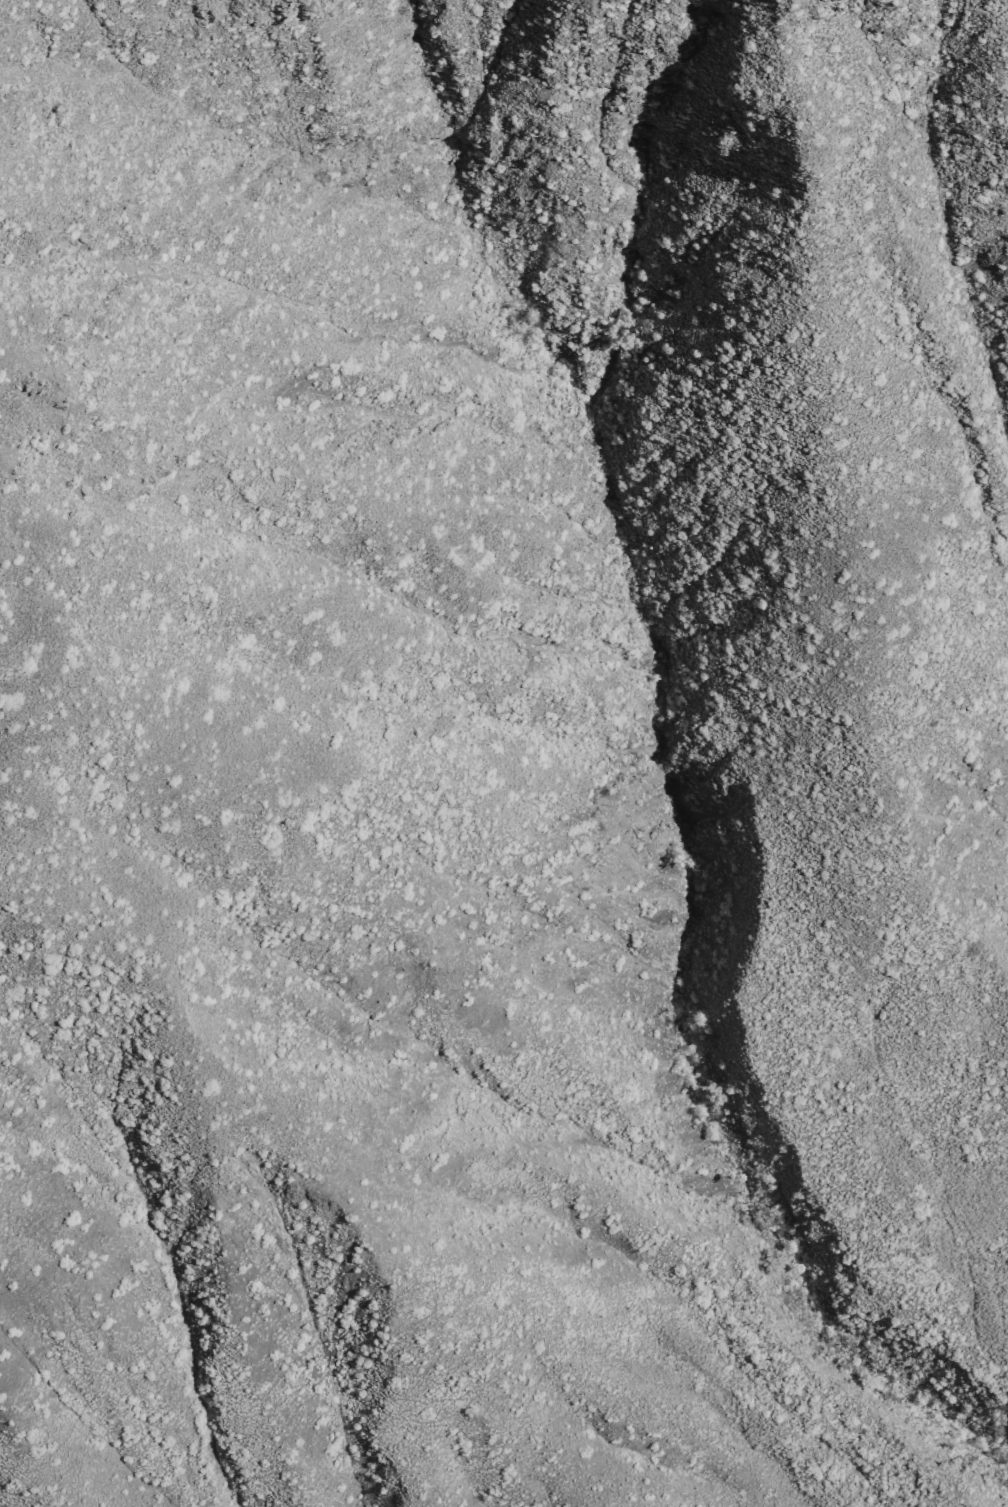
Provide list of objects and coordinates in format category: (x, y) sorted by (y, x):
road: (804, 1408)

